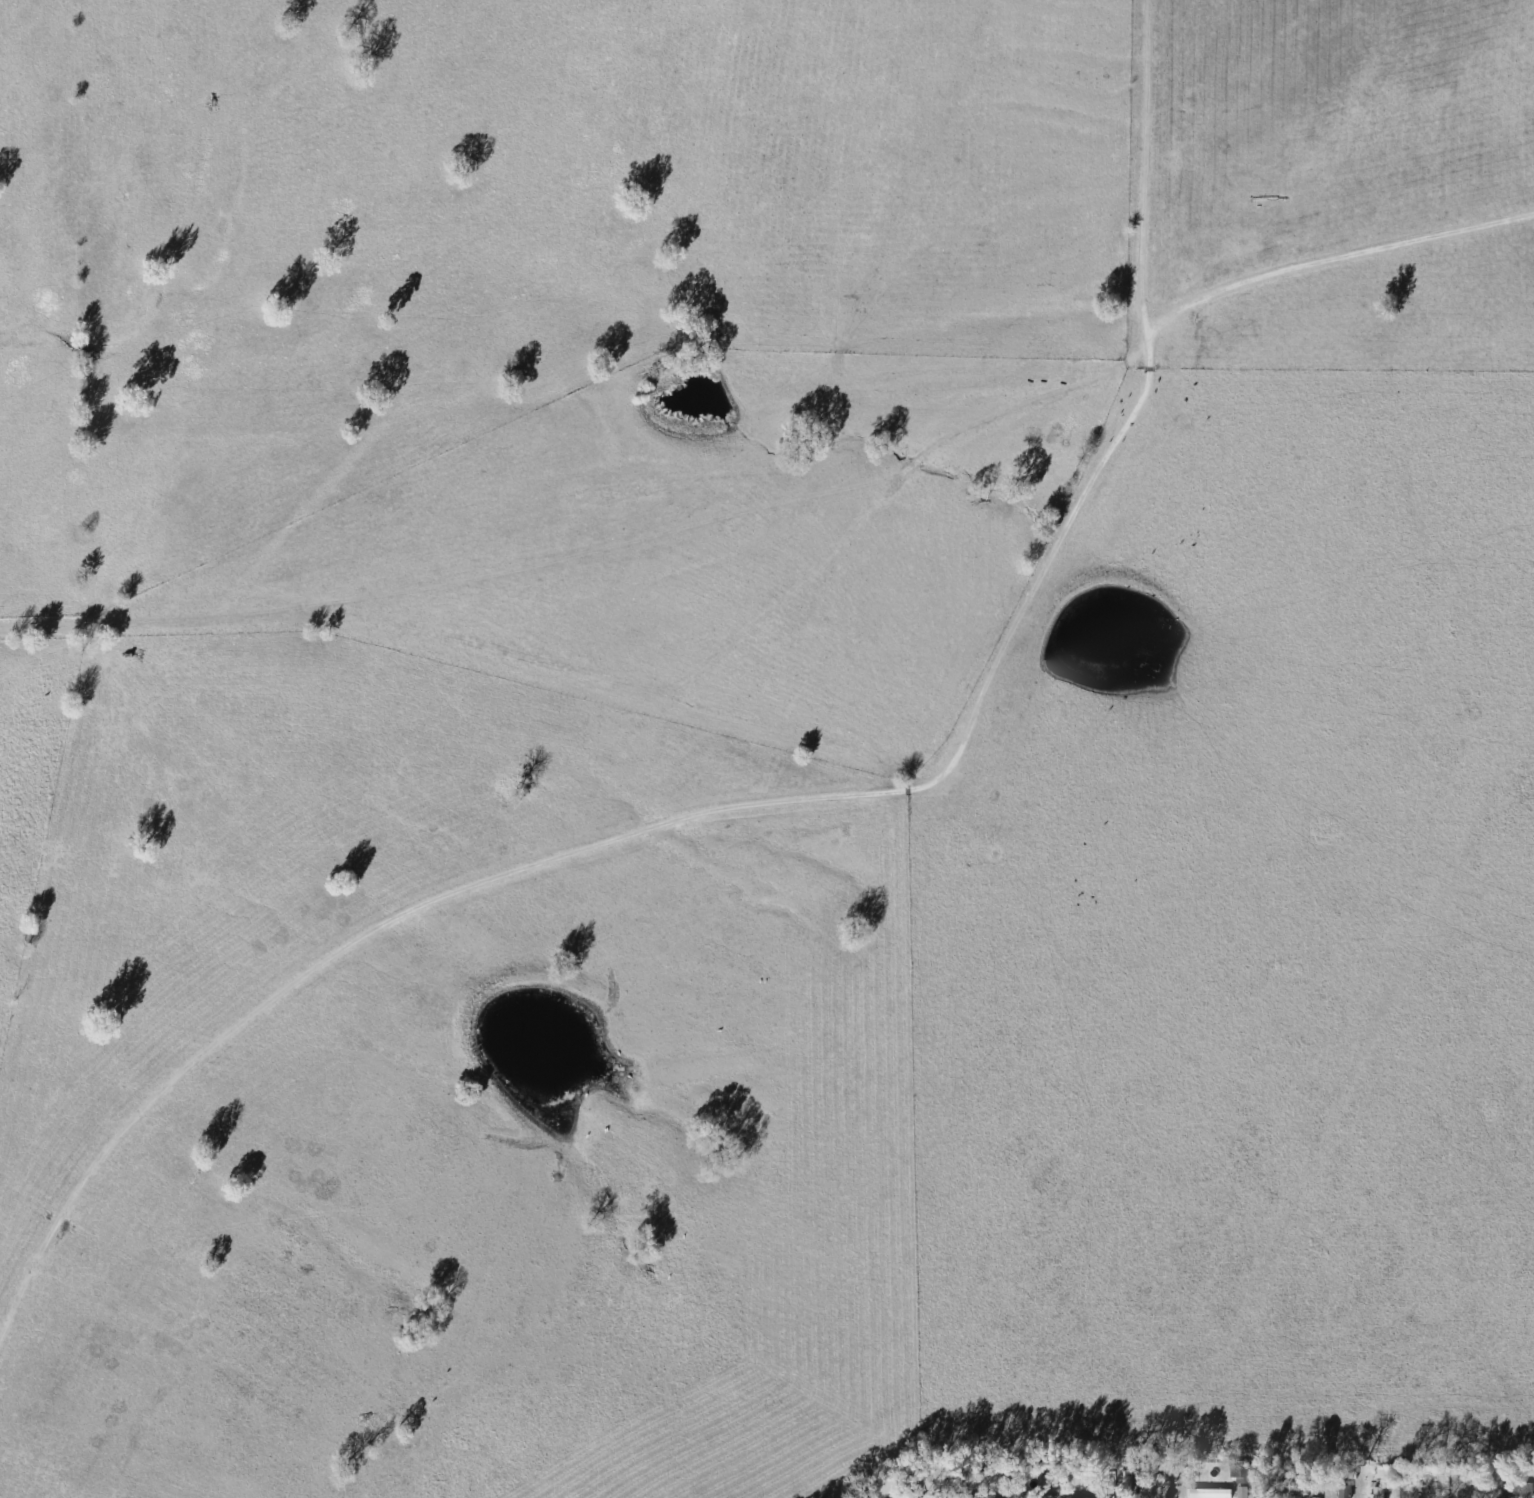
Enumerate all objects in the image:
building: (1381, 1492)
building: (1215, 1493)

